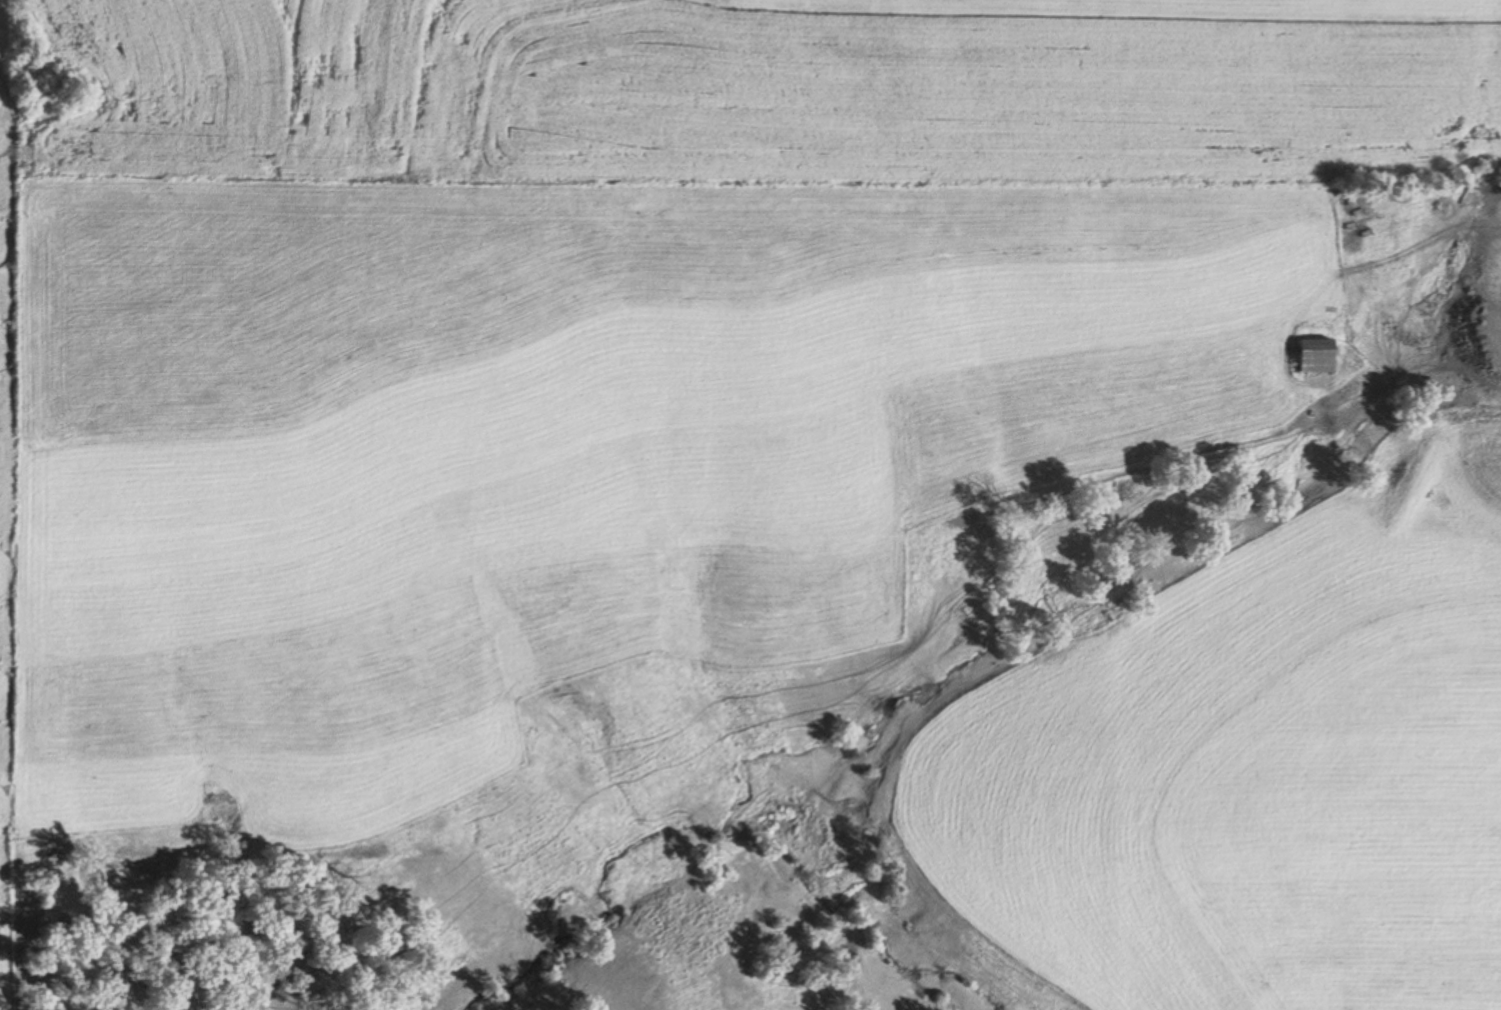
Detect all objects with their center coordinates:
building: (1308, 356)

